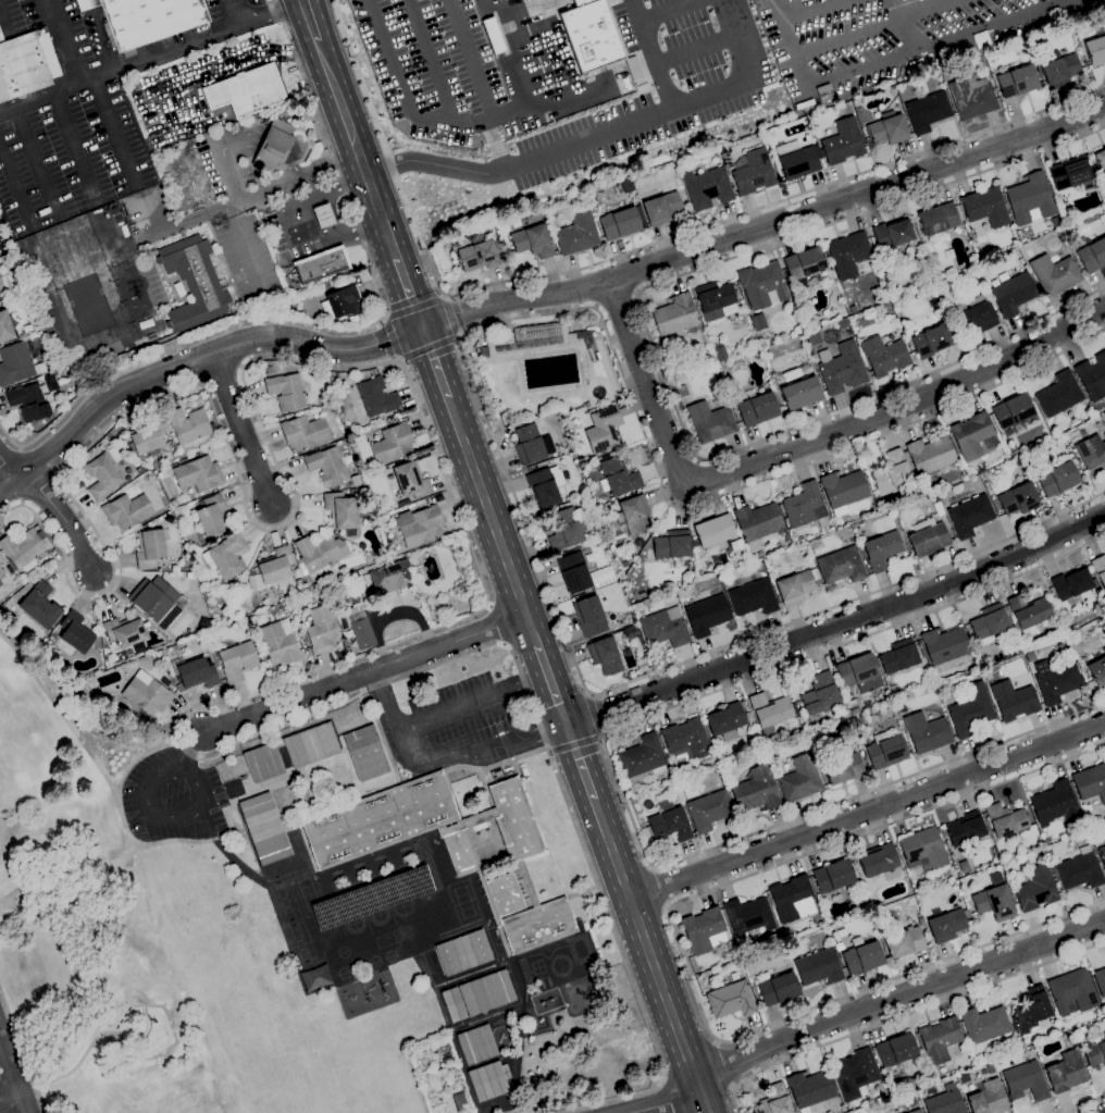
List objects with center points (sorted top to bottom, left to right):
road: (88, 4)
road: (663, 9)
road: (806, 9)
road: (235, 12)
road: (270, 14)
building: (146, 20)
road: (3, 21)
road: (310, 21)
road: (132, 23)
road: (184, 23)
road: (899, 26)
road: (873, 27)
building: (587, 35)
road: (736, 38)
road: (100, 39)
road: (64, 40)
road: (790, 42)
road: (694, 45)
road: (932, 45)
building: (1095, 49)
road: (144, 53)
road: (651, 53)
road: (468, 58)
road: (237, 60)
road: (430, 60)
building: (26, 64)
road: (119, 67)
building: (1058, 69)
building: (1017, 82)
building: (893, 90)
building: (247, 91)
road: (401, 91)
building: (824, 92)
building: (971, 97)
road: (520, 110)
building: (927, 112)
building: (887, 129)
road: (112, 132)
road: (240, 136)
building: (843, 143)
road: (275, 145)
road: (71, 146)
building: (273, 146)
road: (560, 147)
road: (357, 149)
road: (34, 160)
building: (797, 160)
building: (1100, 160)
road: (293, 165)
road: (328, 165)
road: (227, 172)
building: (752, 172)
building: (1069, 173)
road: (14, 185)
building: (707, 188)
road: (269, 189)
building: (1030, 199)
building: (985, 208)
building: (661, 209)
building: (323, 217)
gas station: (323, 217)
building: (938, 219)
road: (184, 221)
building: (619, 223)
road: (296, 224)
road: (766, 228)
building: (893, 233)
building: (578, 234)
road: (243, 239)
building: (533, 242)
building: (504, 250)
building: (476, 253)
road: (628, 253)
building: (847, 255)
building: (1092, 256)
building: (321, 265)
building: (804, 268)
building: (1014, 271)
building: (1054, 274)
building: (194, 283)
building: (762, 285)
building: (4, 286)
building: (178, 289)
building: (930, 290)
building: (895, 292)
road: (408, 293)
building: (1013, 294)
road: (616, 299)
building: (887, 300)
building: (716, 301)
building: (343, 302)
building: (886, 306)
road: (414, 308)
building: (853, 310)
building: (977, 316)
road: (450, 317)
building: (676, 317)
building: (758, 322)
building: (5, 327)
road: (337, 327)
building: (27, 330)
road: (392, 338)
building: (548, 338)
building: (931, 342)
road: (430, 347)
building: (483, 351)
road: (655, 353)
building: (719, 354)
building: (884, 356)
building: (119, 359)
road: (191, 361)
building: (14, 363)
road: (434, 363)
building: (843, 369)
building: (791, 374)
building: (1092, 376)
road: (474, 389)
building: (286, 392)
building: (682, 392)
building: (800, 394)
building: (1059, 394)
building: (376, 397)
building: (27, 403)
building: (586, 406)
building: (757, 408)
building: (1013, 413)
building: (709, 422)
building: (189, 429)
building: (603, 430)
road: (241, 431)
building: (303, 432)
building: (973, 436)
building: (147, 438)
building: (392, 444)
building: (532, 445)
road: (797, 446)
building: (1091, 452)
road: (8, 454)
building: (930, 457)
building: (1019, 461)
building: (1078, 461)
road: (10, 467)
building: (327, 468)
building: (139, 470)
building: (891, 471)
building: (198, 474)
building: (617, 477)
building: (102, 478)
building: (1057, 479)
building: (410, 481)
building: (984, 482)
building: (545, 486)
building: (843, 490)
building: (1019, 499)
building: (402, 503)
building: (173, 504)
building: (805, 507)
building: (126, 511)
building: (377, 511)
building: (340, 512)
building: (210, 515)
building: (633, 515)
building: (969, 515)
road: (63, 518)
road: (493, 522)
building: (758, 523)
building: (422, 528)
building: (564, 530)
building: (715, 532)
building: (786, 537)
building: (927, 537)
building: (695, 543)
building: (671, 545)
building: (151, 547)
building: (23, 549)
building: (881, 551)
building: (318, 556)
building: (225, 557)
building: (1, 560)
building: (624, 565)
building: (840, 566)
building: (1098, 568)
building: (2, 570)
building: (272, 571)
building: (573, 572)
building: (1, 574)
building: (189, 576)
building: (392, 577)
building: (715, 578)
building: (298, 583)
building: (1, 584)
building: (236, 584)
building: (1071, 584)
building: (797, 586)
building: (25, 590)
building: (1104, 592)
building: (321, 596)
building: (418, 597)
building: (753, 597)
building: (1084, 597)
building: (238, 601)
building: (158, 602)
building: (39, 606)
road: (481, 610)
building: (3, 611)
building: (1029, 614)
building: (706, 615)
building: (1104, 615)
building: (589, 616)
building: (215, 623)
building: (989, 623)
road: (837, 626)
building: (665, 628)
building: (322, 630)
building: (361, 630)
building: (124, 631)
building: (73, 635)
building: (634, 636)
building: (278, 643)
building: (944, 645)
building: (607, 653)
building: (922, 654)
building: (152, 656)
building: (898, 657)
building: (237, 661)
building: (1096, 671)
building: (195, 672)
building: (859, 673)
road: (357, 676)
building: (164, 681)
building: (1055, 681)
road: (552, 689)
building: (894, 691)
building: (146, 694)
building: (819, 694)
building: (1013, 700)
road: (481, 701)
road: (385, 705)
building: (902, 708)
building: (970, 712)
road: (594, 713)
building: (769, 713)
road: (62, 714)
building: (748, 718)
building: (725, 721)
parking lot: (442, 724)
road: (552, 730)
building: (926, 732)
building: (685, 740)
building: (803, 740)
road: (574, 744)
building: (311, 745)
road: (187, 747)
building: (885, 751)
building: (363, 753)
road: (465, 756)
building: (643, 758)
building: (263, 763)
road: (581, 766)
building: (843, 768)
building: (717, 771)
road: (614, 775)
building: (799, 779)
building: (1090, 782)
building: (688, 790)
building: (755, 791)
parking lot: (171, 797)
building: (1053, 802)
building: (708, 811)
road: (867, 812)
road: (166, 817)
building: (514, 819)
building: (378, 820)
building: (1005, 820)
building: (468, 823)
building: (669, 823)
building: (642, 824)
building: (264, 829)
building: (965, 829)
road: (133, 849)
building: (922, 850)
building: (461, 853)
building: (1102, 854)
building: (511, 858)
building: (880, 863)
building: (1079, 870)
building: (832, 876)
building: (995, 878)
road: (658, 888)
building: (1035, 889)
building: (509, 893)
building: (561, 899)
building: (792, 899)
building: (994, 903)
park: (87, 910)
building: (747, 915)
building: (920, 922)
building: (947, 925)
building: (538, 929)
building: (702, 929)
building: (842, 933)
building: (785, 935)
building: (904, 943)
building: (839, 947)
building: (461, 951)
road: (679, 951)
road: (649, 956)
building: (861, 956)
building: (818, 967)
building: (1100, 981)
building: (778, 989)
building: (1071, 991)
building: (486, 993)
road: (897, 997)
building: (731, 1000)
building: (454, 1005)
building: (1030, 1011)
road: (905, 1014)
building: (983, 1026)
building: (939, 1039)
building: (476, 1044)
road: (86, 1048)
building: (440, 1048)
building: (1095, 1052)
road: (21, 1054)
building: (895, 1054)
building: (447, 1061)
building: (997, 1062)
road: (725, 1065)
building: (990, 1068)
building: (1065, 1072)
building: (855, 1074)
building: (931, 1075)
building: (488, 1080)
building: (1025, 1081)
road: (10, 1083)
building: (809, 1089)
road: (669, 1093)
building: (988, 1098)
road: (8, 1100)
building: (773, 1101)
building: (460, 1102)
road: (662, 1102)
building: (944, 1103)
road: (1079, 1103)
building: (915, 1111)

